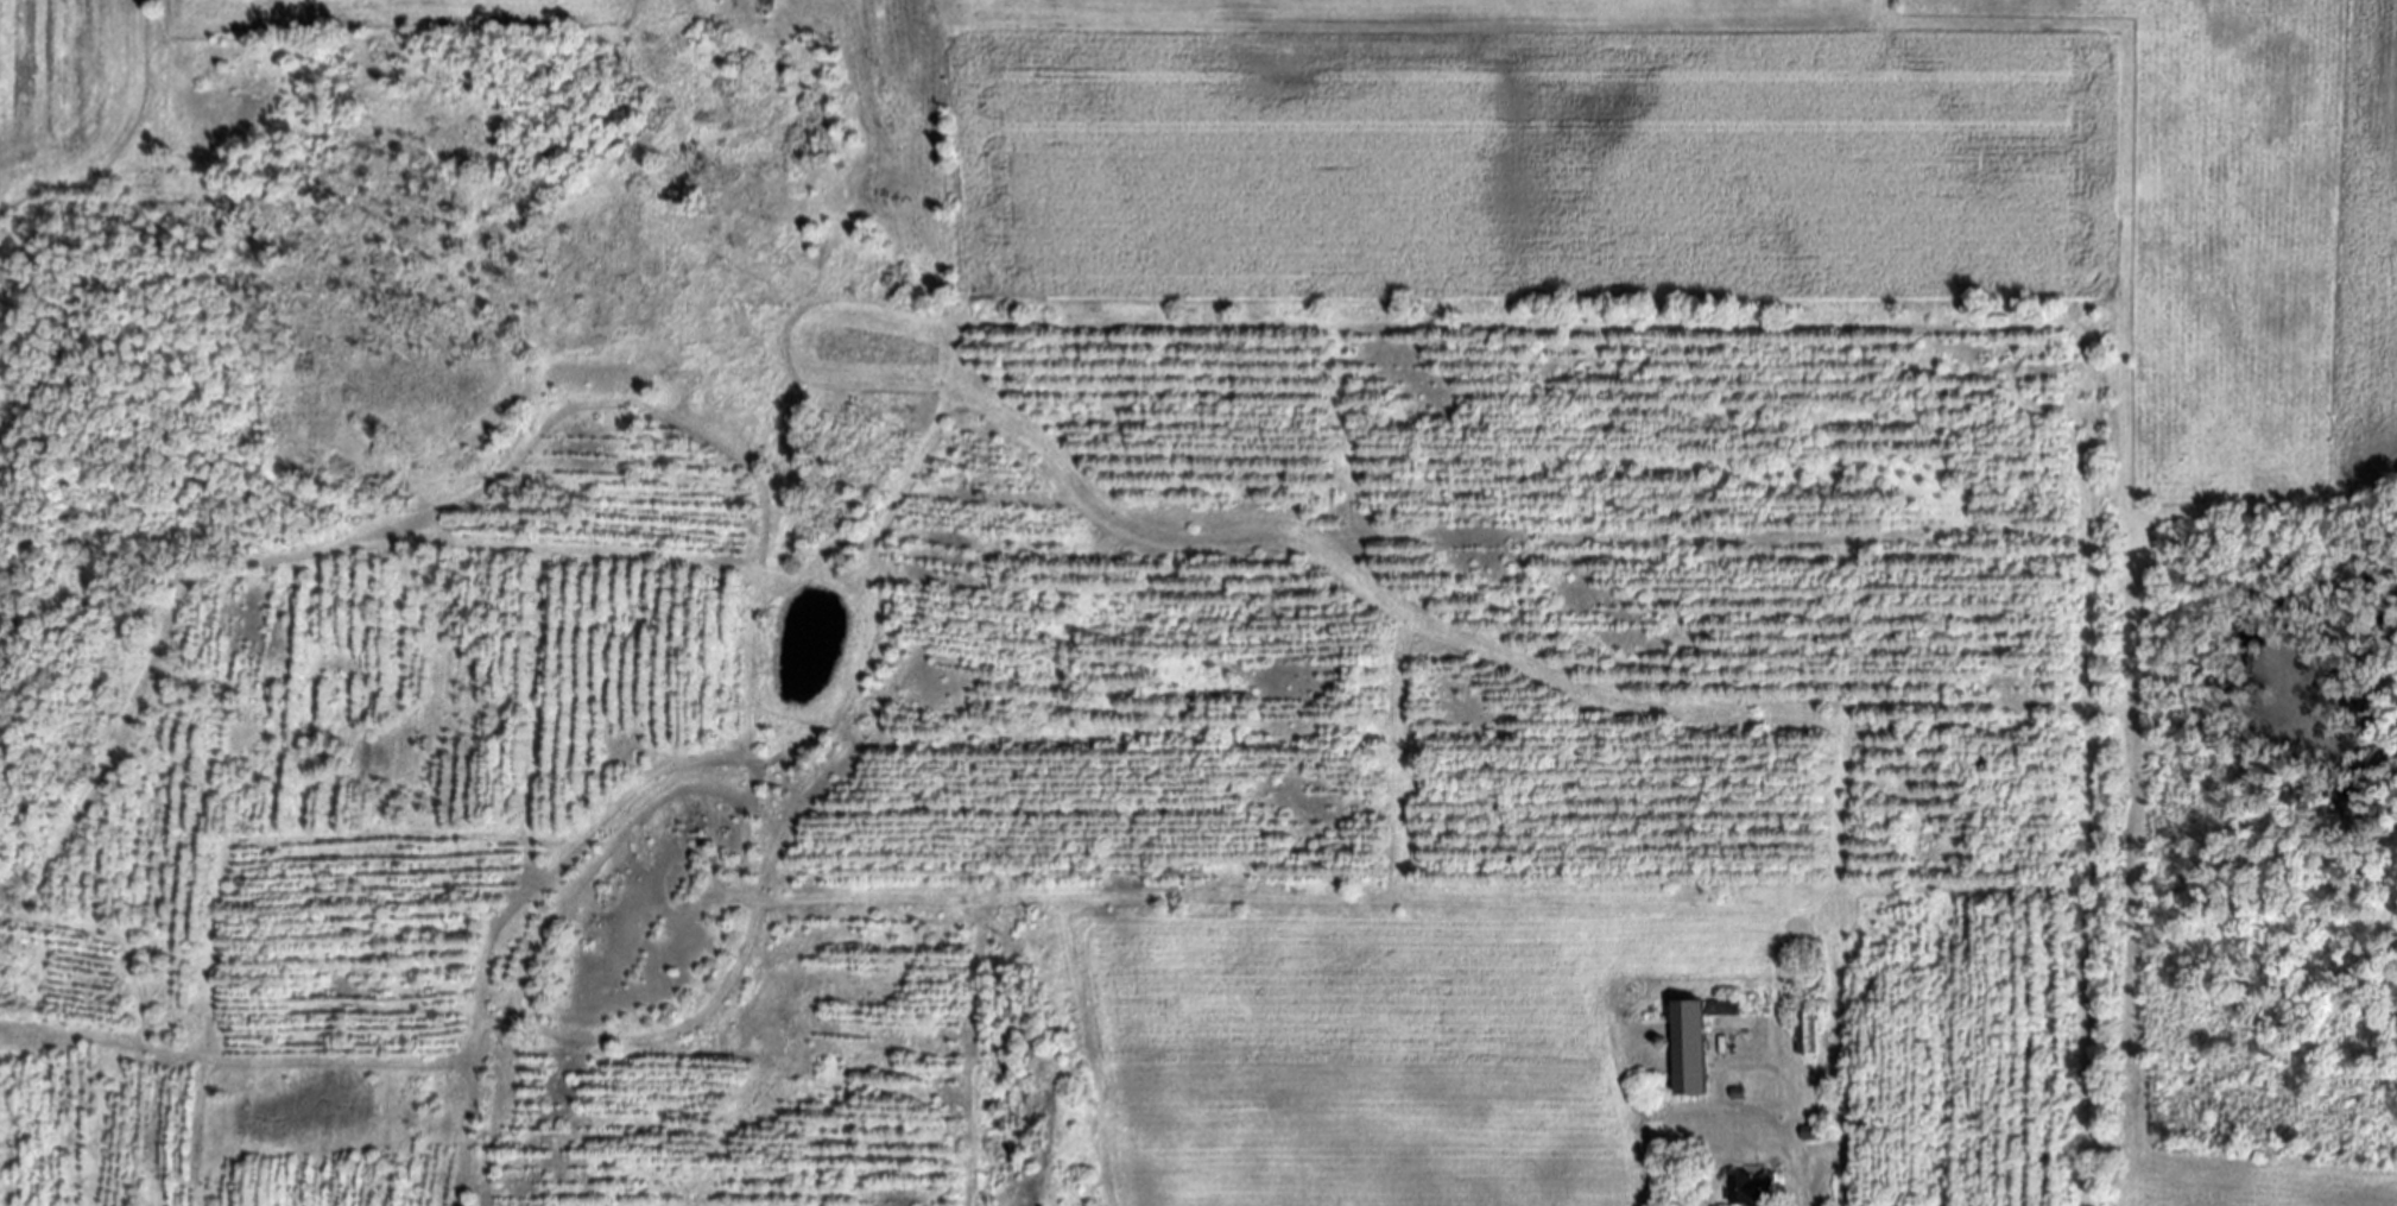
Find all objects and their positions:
building: (1691, 1047)
road: (1792, 1150)
building: (1754, 1187)

